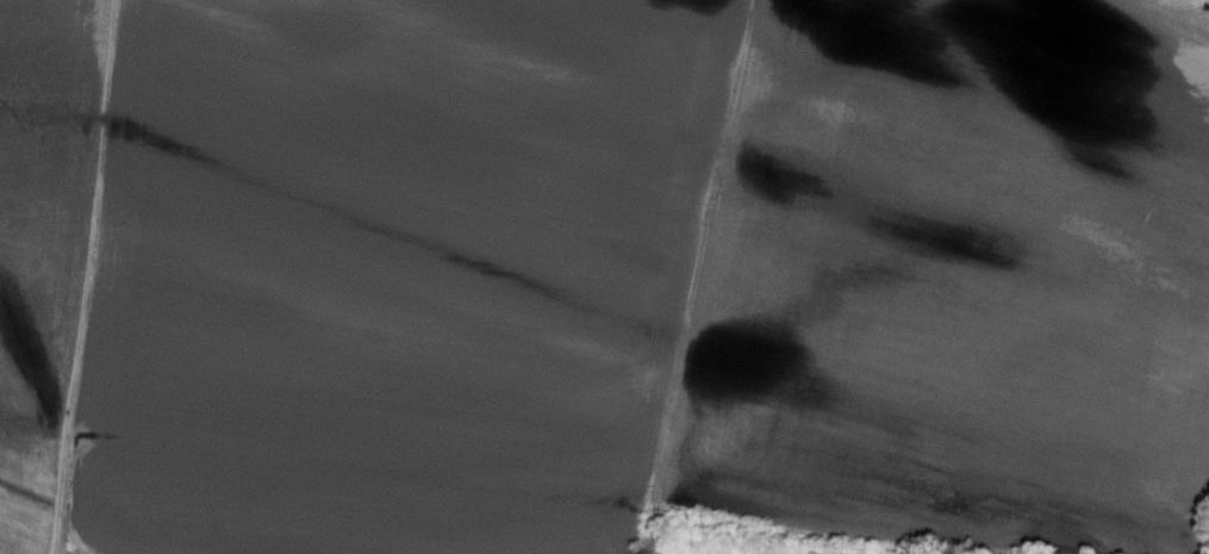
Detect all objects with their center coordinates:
road: (83, 276)

